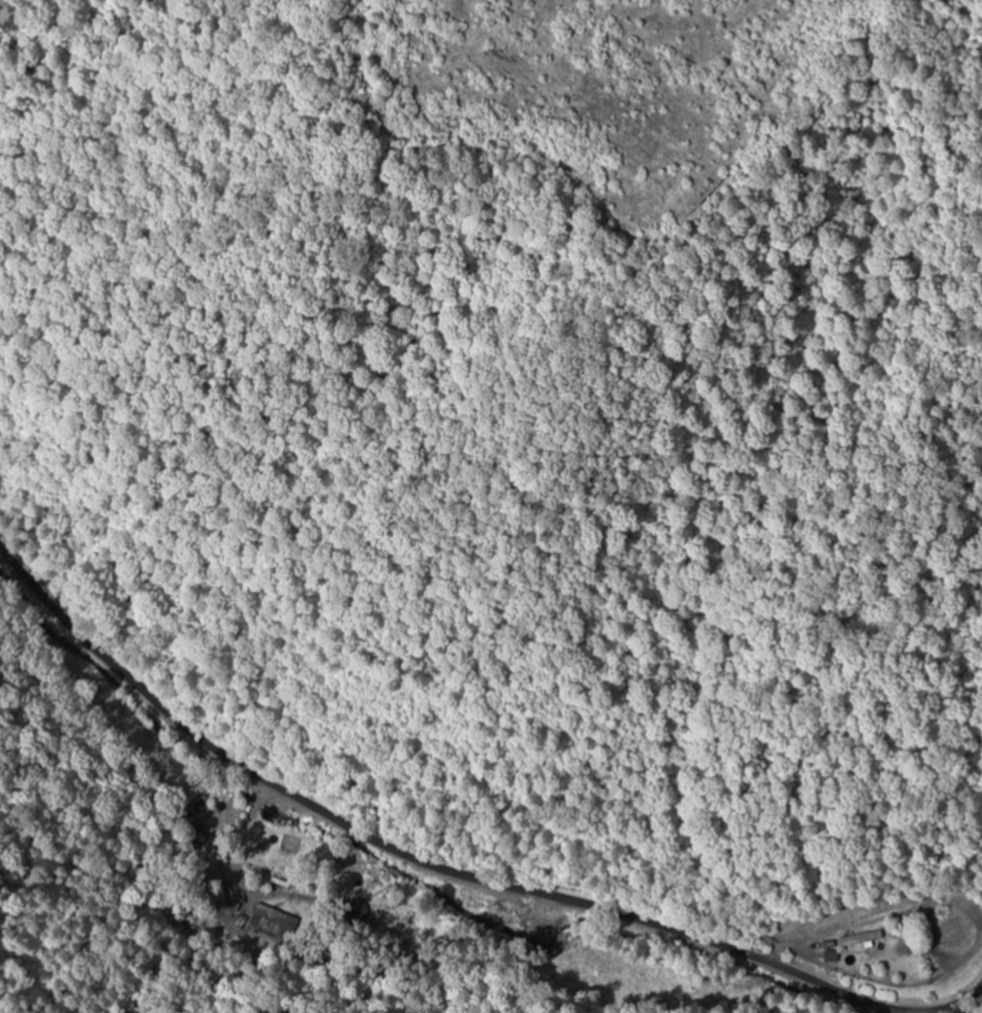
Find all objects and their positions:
road: (472, 865)
building: (275, 923)
building: (859, 940)
building: (829, 957)
road: (570, 959)

